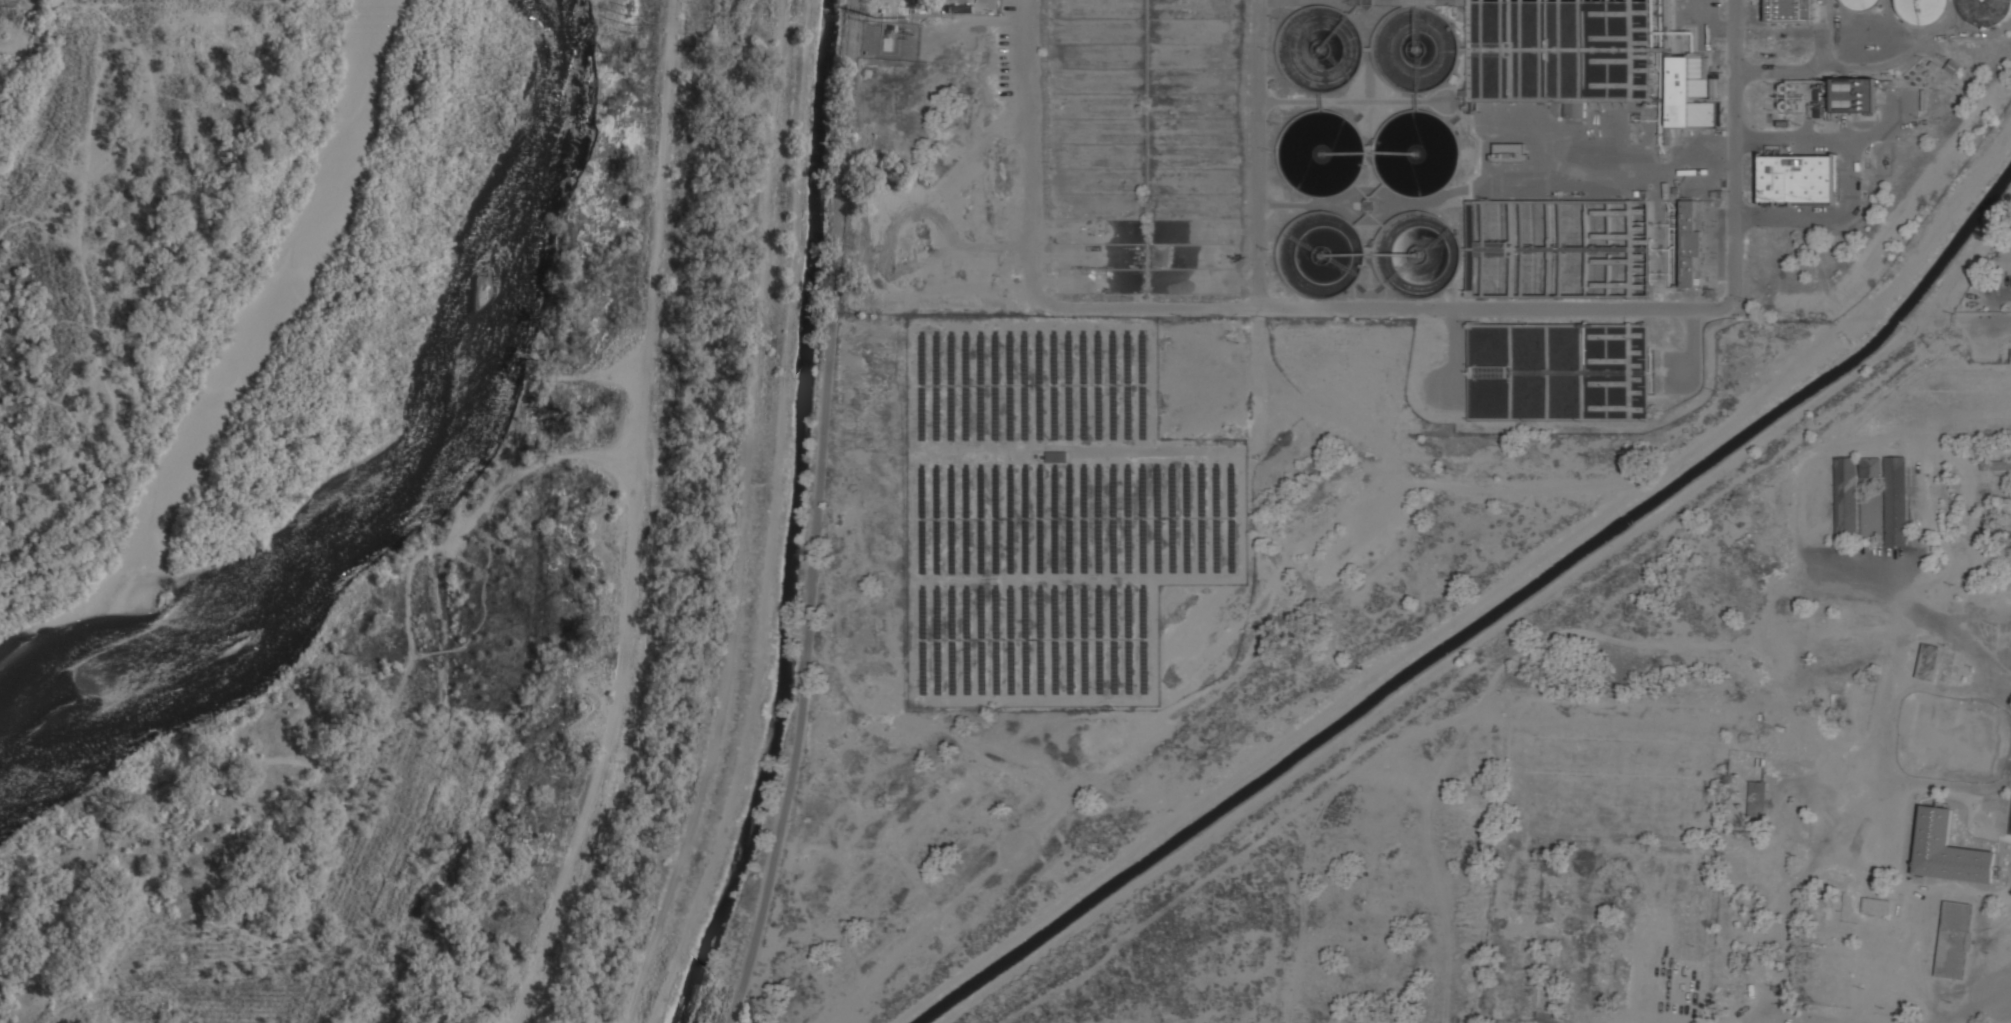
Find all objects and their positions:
building: (1861, 4)
building: (1922, 10)
building: (1794, 11)
building: (1986, 11)
power tower: (876, 16)
building: (1659, 37)
power substation: (891, 39)
building: (1688, 91)
building: (1854, 94)
building: (1573, 107)
building: (1509, 151)
wastewater plant: (1418, 172)
building: (1798, 178)
building: (1692, 241)
building: (2004, 257)
road: (1980, 322)
river: (241, 398)
building: (1057, 456)
building: (1996, 465)
building: (1871, 468)
building: (1847, 497)
building: (1896, 500)
solar farm: (1053, 512)
road: (816, 515)
road: (427, 550)
building: (1928, 661)
building: (1954, 736)
building: (1758, 798)
building: (1942, 832)
building: (1835, 885)
building: (1877, 905)
building: (1954, 939)
building: (1834, 942)
building: (1829, 975)

